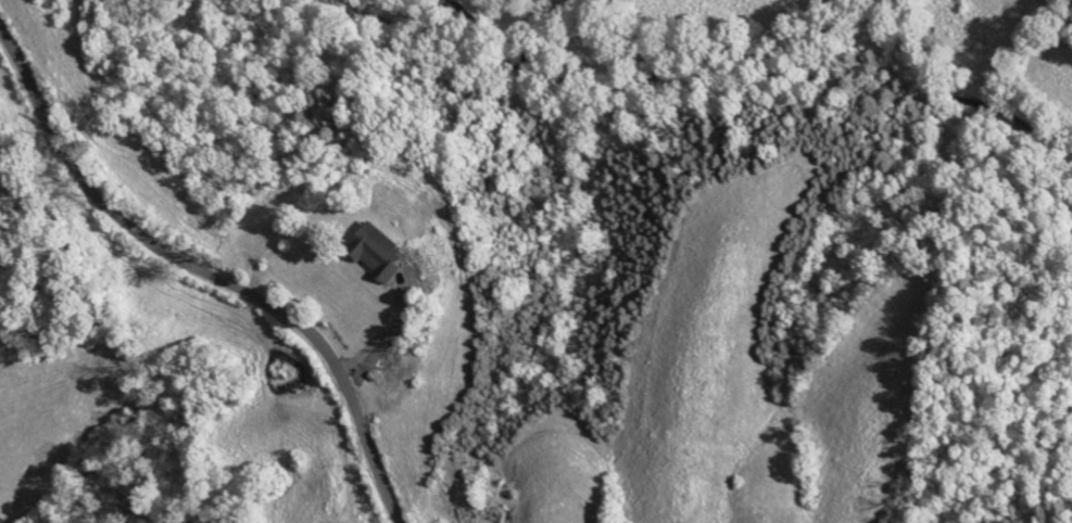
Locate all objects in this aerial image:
building: (376, 252)
road: (205, 273)

